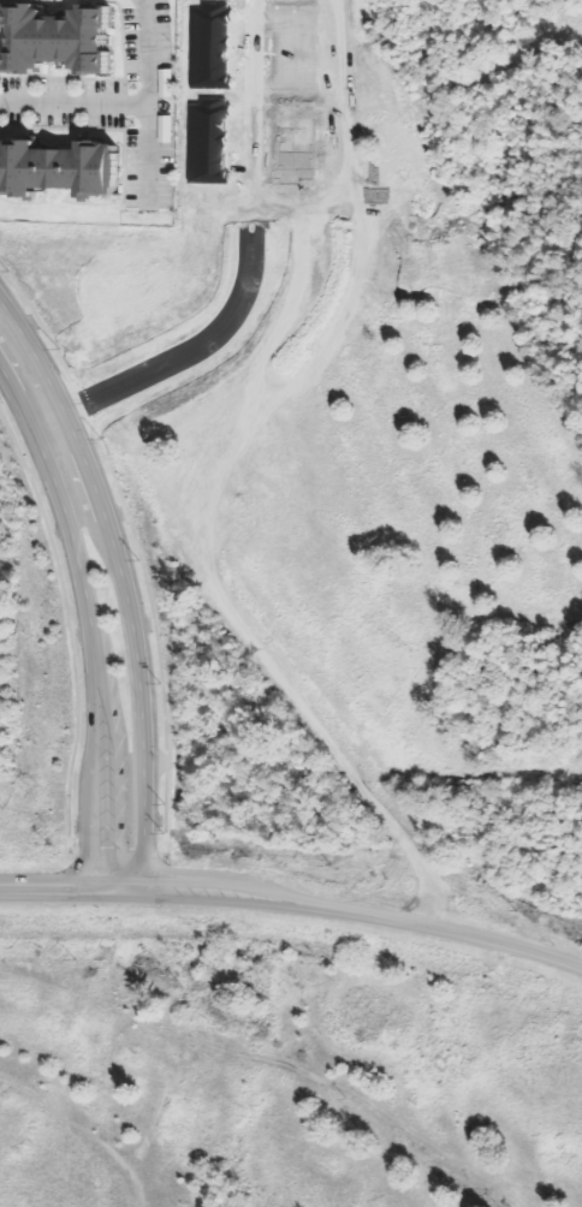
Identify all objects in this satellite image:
building: (55, 37)
road: (144, 52)
road: (124, 103)
building: (57, 168)
road: (44, 420)
road: (120, 588)
road: (87, 628)
road: (409, 848)
road: (61, 891)
road: (355, 912)

